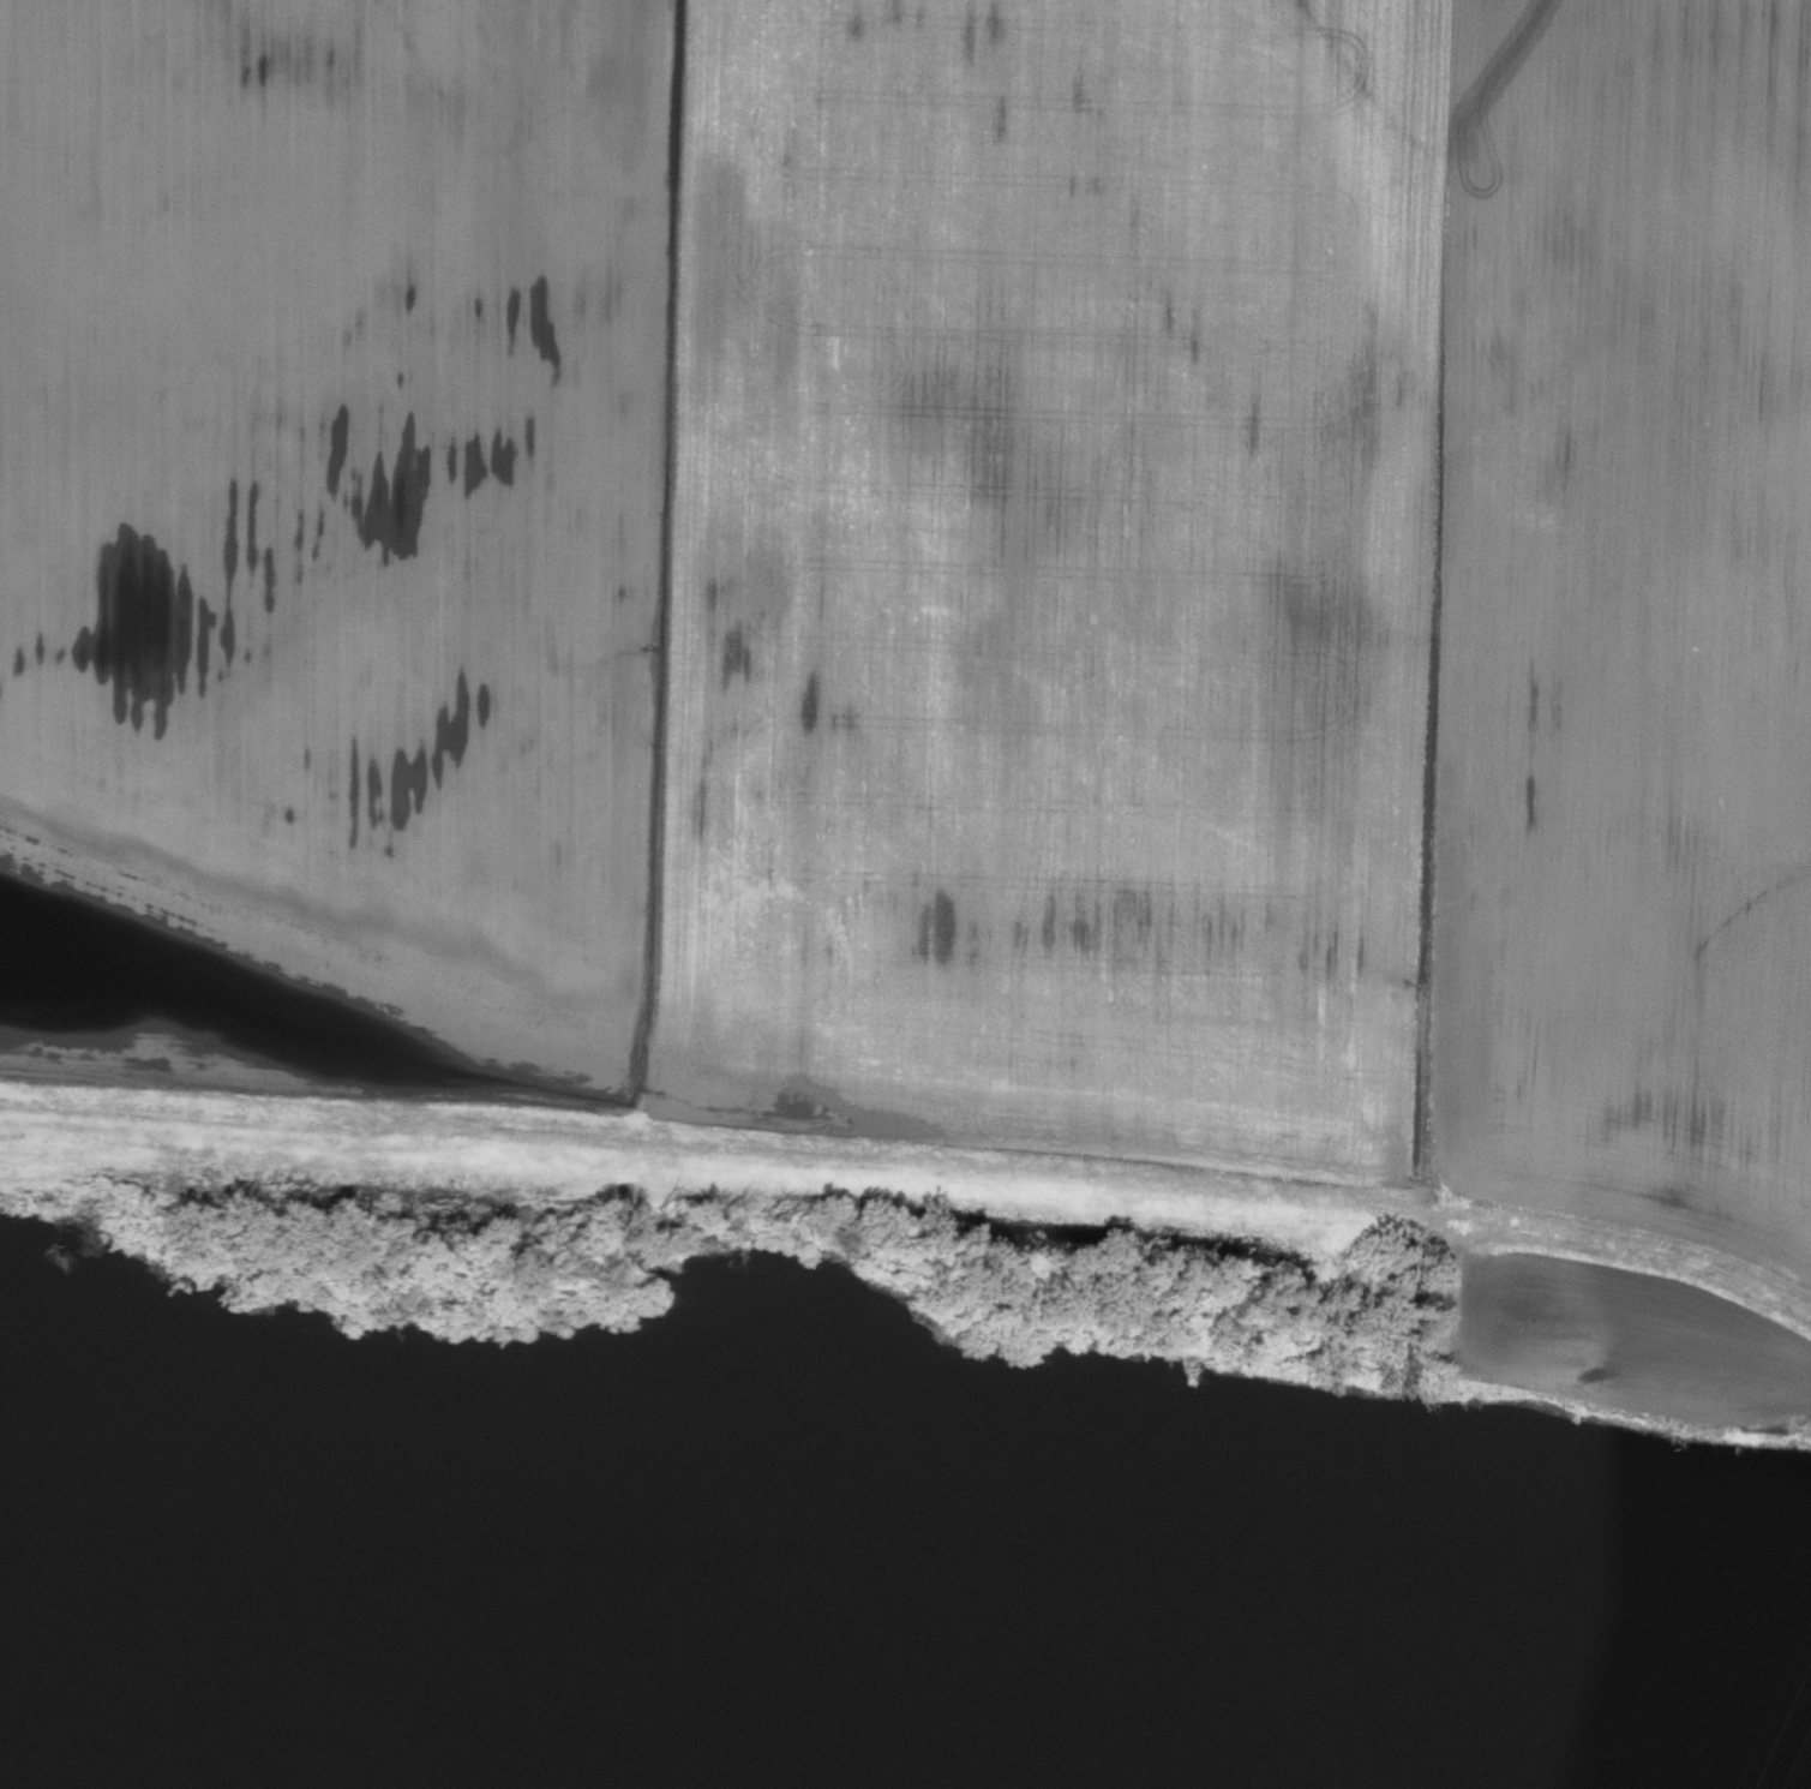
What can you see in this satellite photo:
river: (259, 1763)

